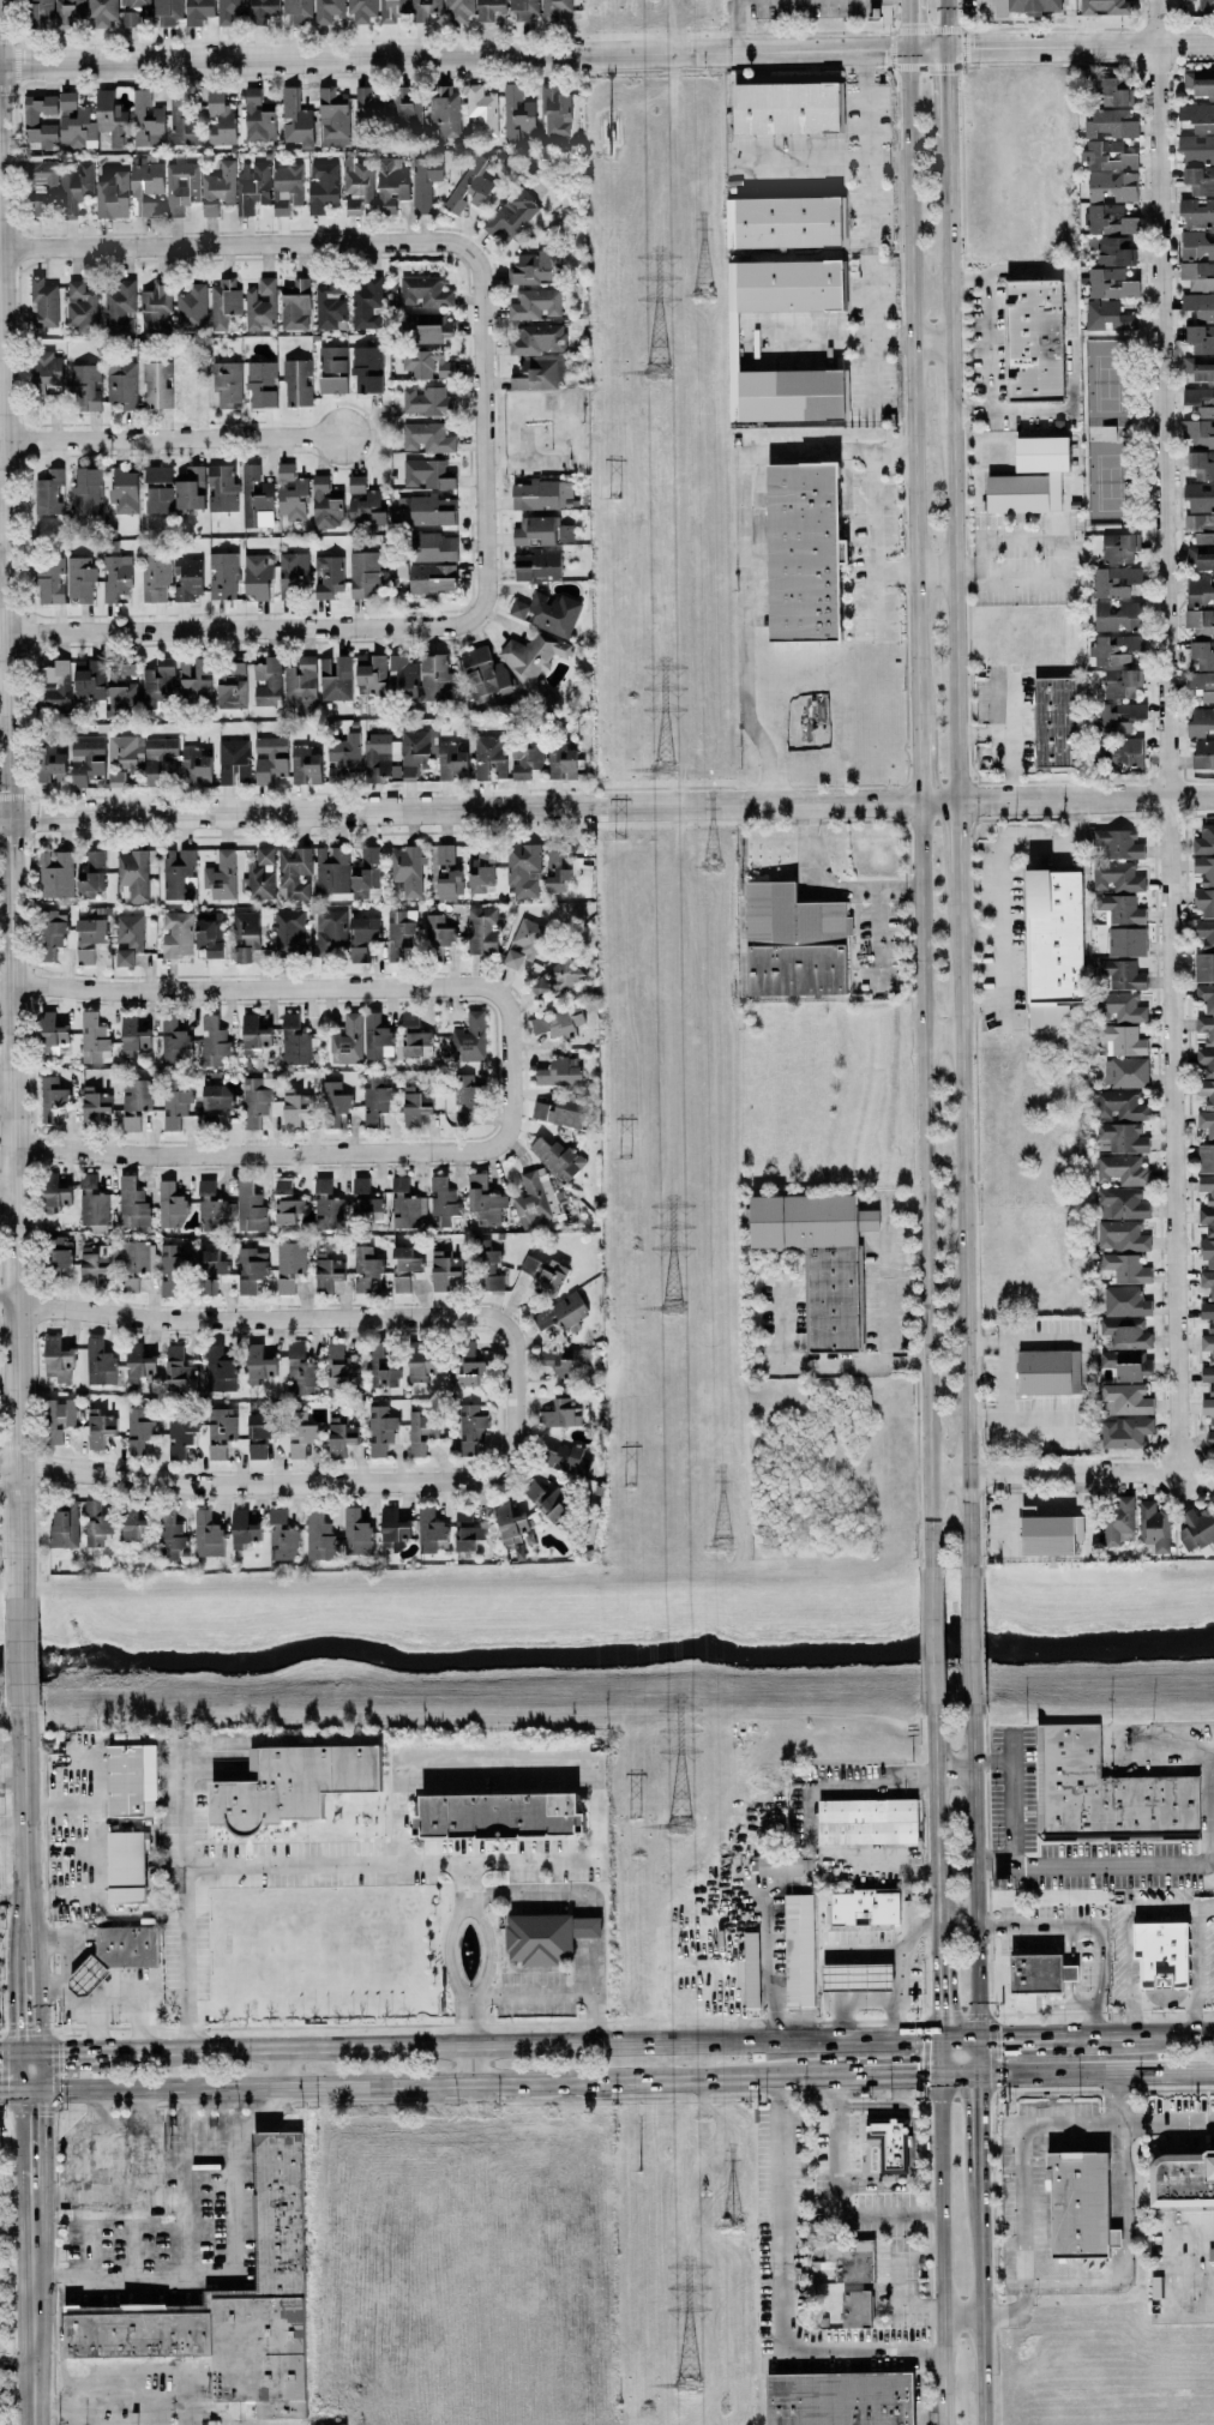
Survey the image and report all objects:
building: (1200, 5)
building: (1035, 6)
building: (1101, 6)
road: (985, 7)
building: (425, 8)
building: (458, 8)
building: (489, 8)
building: (553, 8)
building: (999, 8)
building: (296, 10)
building: (327, 10)
building: (361, 10)
building: (392, 10)
building: (522, 10)
building: (68, 11)
building: (133, 11)
building: (167, 11)
building: (198, 11)
building: (229, 11)
building: (263, 11)
building: (37, 12)
building: (102, 12)
road: (734, 25)
traffic signals: (907, 49)
traffic signals: (944, 49)
road: (607, 52)
building: (1200, 83)
building: (1113, 91)
building: (786, 108)
building: (555, 110)
building: (480, 112)
building: (445, 113)
building: (516, 113)
building: (368, 114)
building: (405, 114)
building: (258, 115)
building: (1197, 116)
building: (30, 118)
building: (332, 118)
building: (110, 119)
building: (220, 119)
building: (146, 120)
building: (295, 120)
building: (76, 124)
building: (182, 124)
building: (1111, 124)
power tower: (606, 143)
road: (866, 145)
building: (1196, 149)
building: (1107, 156)
road: (816, 163)
road: (945, 169)
building: (1198, 180)
building: (425, 181)
building: (356, 183)
building: (391, 185)
building: (76, 186)
building: (321, 186)
building: (470, 186)
building: (1112, 186)
building: (146, 187)
building: (181, 187)
building: (43, 188)
building: (218, 188)
building: (252, 188)
building: (287, 188)
building: (113, 197)
building: (1196, 212)
building: (511, 213)
building: (1110, 219)
building: (783, 222)
road: (268, 242)
building: (1196, 246)
building: (1111, 252)
building: (534, 267)
building: (1197, 275)
building: (1111, 283)
building: (789, 285)
building: (423, 291)
power tower: (701, 295)
building: (43, 303)
building: (223, 303)
building: (259, 303)
building: (535, 303)
building: (295, 305)
building: (367, 305)
building: (330, 306)
building: (1198, 306)
building: (82, 307)
building: (119, 307)
building: (155, 307)
building: (191, 308)
building: (1106, 315)
building: (429, 327)
building: (539, 339)
road: (871, 339)
road: (930, 339)
building: (1202, 339)
road: (830, 341)
building: (1033, 341)
road: (1066, 341)
road: (990, 344)
building: (426, 363)
building: (367, 368)
building: (46, 369)
building: (332, 369)
building: (1198, 369)
building: (539, 373)
power tower: (656, 373)
road: (949, 377)
building: (298, 383)
building: (121, 384)
building: (262, 384)
building: (156, 385)
building: (227, 385)
building: (85, 386)
building: (791, 396)
building: (427, 401)
building: (1200, 402)
road: (487, 431)
building: (1198, 433)
road: (173, 437)
building: (427, 438)
building: (1041, 453)
building: (1201, 464)
building: (427, 474)
building: (355, 483)
building: (191, 488)
building: (221, 488)
building: (158, 489)
building: (124, 491)
building: (1053, 491)
building: (86, 492)
building: (49, 493)
building: (290, 493)
building: (542, 494)
building: (1016, 494)
building: (1198, 497)
building: (256, 498)
power tower: (611, 499)
building: (325, 504)
building: (431, 510)
building: (366, 511)
building: (1200, 528)
building: (539, 530)
road: (1053, 540)
road: (744, 544)
building: (110, 546)
road: (873, 546)
building: (433, 547)
building: (1118, 547)
building: (803, 552)
building: (1202, 559)
road: (1, 562)
building: (537, 566)
road: (933, 567)
road: (894, 568)
road: (1, 572)
building: (363, 573)
building: (293, 574)
building: (222, 576)
building: (257, 576)
building: (327, 576)
building: (80, 578)
building: (116, 578)
building: (155, 578)
building: (187, 578)
building: (432, 578)
building: (49, 580)
building: (1116, 582)
building: (1200, 592)
road: (952, 609)
building: (547, 612)
building: (1117, 615)
building: (1200, 622)
road: (272, 626)
building: (1114, 649)
building: (1202, 655)
building: (531, 658)
building: (372, 673)
building: (482, 673)
building: (402, 675)
building: (335, 678)
building: (434, 678)
building: (89, 679)
building: (194, 680)
building: (266, 682)
building: (1120, 682)
building: (54, 684)
building: (157, 684)
building: (301, 685)
building: (230, 686)
building: (121, 687)
building: (1117, 716)
building: (1056, 721)
building: (1201, 723)
building: (415, 750)
building: (1117, 752)
building: (1203, 753)
building: (383, 754)
building: (488, 756)
building: (343, 757)
building: (122, 758)
building: (270, 758)
building: (86, 760)
building: (160, 760)
building: (233, 760)
building: (561, 760)
building: (451, 762)
building: (50, 765)
building: (305, 765)
building: (194, 766)
power tower: (660, 770)
road: (918, 783)
road: (1084, 799)
road: (477, 808)
power tower: (617, 836)
road: (956, 838)
building: (1203, 840)
building: (1118, 843)
power tower: (710, 865)
road: (1171, 865)
building: (482, 867)
building: (90, 869)
building: (331, 869)
building: (523, 869)
building: (554, 869)
building: (407, 871)
building: (134, 872)
building: (363, 872)
building: (294, 873)
building: (447, 873)
building: (55, 874)
building: (178, 874)
building: (260, 874)
building: (220, 875)
building: (1114, 877)
road: (830, 885)
building: (1204, 903)
building: (1119, 909)
building: (481, 929)
building: (330, 931)
building: (438, 931)
road: (10, 932)
building: (209, 933)
building: (244, 933)
building: (289, 933)
building: (1204, 933)
building: (48, 934)
building: (176, 934)
building: (398, 934)
building: (362, 937)
building: (88, 938)
building: (128, 938)
building: (1126, 941)
building: (523, 943)
building: (794, 943)
building: (1053, 945)
building: (1203, 967)
building: (1119, 974)
building: (558, 977)
road: (281, 989)
road: (5, 995)
building: (1119, 1007)
building: (558, 1022)
road: (940, 1031)
building: (254, 1034)
building: (52, 1035)
building: (132, 1035)
building: (414, 1036)
building: (92, 1037)
building: (377, 1037)
building: (470, 1037)
building: (174, 1040)
building: (348, 1040)
building: (1122, 1040)
building: (214, 1041)
building: (295, 1041)
building: (1206, 1060)
building: (558, 1072)
building: (1125, 1072)
road: (512, 1083)
building: (1206, 1091)
building: (465, 1095)
building: (52, 1097)
building: (216, 1097)
building: (375, 1100)
building: (134, 1102)
building: (253, 1102)
building: (333, 1103)
road: (6, 1105)
building: (95, 1105)
building: (174, 1105)
building: (1120, 1105)
building: (294, 1107)
building: (415, 1109)
building: (540, 1111)
building: (566, 1114)
building: (1206, 1124)
building: (1120, 1138)
road: (269, 1154)
building: (557, 1157)
power tower: (623, 1159)
building: (1206, 1159)
building: (1122, 1171)
road: (7, 1187)
building: (1207, 1187)
building: (54, 1193)
building: (443, 1199)
building: (536, 1199)
building: (485, 1201)
building: (92, 1202)
building: (132, 1202)
building: (286, 1202)
building: (365, 1203)
building: (407, 1203)
building: (1122, 1203)
building: (326, 1204)
building: (170, 1205)
building: (250, 1207)
building: (212, 1208)
building: (1207, 1220)
road: (962, 1221)
building: (1123, 1235)
building: (1207, 1253)
building: (59, 1254)
building: (819, 1259)
building: (134, 1263)
building: (94, 1264)
building: (289, 1265)
building: (404, 1266)
building: (483, 1266)
building: (365, 1268)
building: (1125, 1268)
building: (210, 1270)
building: (251, 1270)
building: (443, 1270)
building: (327, 1271)
building: (545, 1274)
building: (1207, 1282)
road: (888, 1284)
road: (7, 1295)
building: (1124, 1301)
power tower: (671, 1308)
building: (561, 1312)
building: (1207, 1314)
road: (282, 1319)
building: (1125, 1332)
building: (1207, 1346)
building: (56, 1359)
building: (98, 1362)
building: (137, 1362)
building: (420, 1362)
building: (554, 1362)
building: (258, 1364)
building: (339, 1366)
building: (1131, 1366)
building: (220, 1368)
building: (379, 1368)
building: (471, 1368)
building: (300, 1371)
building: (1044, 1372)
building: (178, 1374)
building: (1208, 1378)
road: (1086, 1379)
building: (1126, 1398)
building: (1208, 1409)
building: (560, 1414)
building: (58, 1419)
building: (100, 1428)
building: (470, 1428)
building: (138, 1430)
building: (379, 1430)
building: (421, 1431)
building: (220, 1432)
building: (1124, 1432)
building: (259, 1433)
building: (299, 1434)
building: (339, 1437)
building: (180, 1438)
building: (1209, 1438)
building: (565, 1457)
road: (308, 1484)
power tower: (627, 1490)
building: (1212, 1499)
building: (546, 1500)
building: (1118, 1520)
building: (134, 1522)
building: (96, 1523)
building: (391, 1526)
building: (1153, 1526)
building: (467, 1528)
building: (64, 1529)
building: (242, 1529)
building: (429, 1530)
building: (1197, 1530)
building: (512, 1532)
building: (170, 1533)
building: (356, 1533)
building: (206, 1534)
building: (1050, 1534)
building: (281, 1536)
building: (319, 1536)
power tower: (722, 1545)
road: (970, 1641)
road: (930, 1642)
river: (607, 1649)
road: (22, 1654)
road: (1166, 1739)
road: (12, 1743)
road: (558, 1764)
road: (932, 1770)
building: (131, 1780)
building: (292, 1783)
building: (1105, 1793)
building: (499, 1815)
power tower: (630, 1815)
road: (937, 1818)
building: (867, 1821)
power tower: (678, 1824)
road: (12, 1827)
road: (61, 1851)
road: (98, 1852)
road: (332, 1863)
building: (781, 1865)
road: (1094, 1865)
building: (126, 1867)
road: (975, 1875)
road: (25, 1879)
road: (519, 1891)
road: (587, 1900)
road: (13, 1905)
road: (1204, 1906)
building: (864, 1907)
road: (1161, 1907)
road: (1092, 1924)
road: (591, 1927)
building: (546, 1937)
road: (488, 1944)
road: (66, 1949)
building: (798, 1950)
road: (861, 1950)
road: (901, 1951)
building: (121, 1952)
building: (1160, 1954)
road: (594, 1966)
building: (750, 1969)
building: (1034, 1973)
building: (857, 1976)
road: (939, 1980)
road: (807, 1982)
road: (533, 1994)
road: (66, 1996)
road: (1162, 1999)
road: (867, 2000)
traffic signals: (939, 2009)
road: (120, 2015)
road: (595, 2017)
road: (1143, 2034)
road: (1026, 2036)
road: (957, 2038)
traffic signals: (999, 2038)
road: (546, 2042)
road: (90, 2050)
road: (13, 2051)
traffic signals: (28, 2051)
road: (939, 2054)
road: (976, 2054)
road: (470, 2063)
road: (993, 2064)
road: (283, 2065)
road: (28, 2069)
road: (1095, 2070)
road: (859, 2071)
traffic signals: (915, 2071)
road: (958, 2071)
road: (404, 2082)
road: (14, 2088)
traffic signals: (29, 2088)
road: (1119, 2095)
traffic signals: (979, 2101)
road: (979, 2129)
road: (1022, 2140)
building: (889, 2141)
road: (209, 2144)
road: (913, 2146)
road: (698, 2158)
road: (94, 2159)
road: (140, 2159)
road: (714, 2171)
power tower: (637, 2172)
road: (728, 2174)
building: (1182, 2179)
road: (185, 2183)
road: (62, 2191)
road: (835, 2194)
building: (1080, 2204)
power tower: (729, 2225)
road: (14, 2231)
road: (109, 2231)
road: (940, 2248)
road: (1123, 2249)
road: (1172, 2252)
road: (30, 2256)
road: (127, 2256)
road: (993, 2257)
building: (849, 2259)
road: (233, 2271)
road: (1192, 2279)
road: (896, 2283)
road: (781, 2292)
building: (230, 2300)
road: (981, 2305)
building: (855, 2309)
road: (1183, 2315)
road: (962, 2316)
road: (16, 2366)
power tower: (687, 2383)
building: (840, 2399)
road: (110, 2403)

